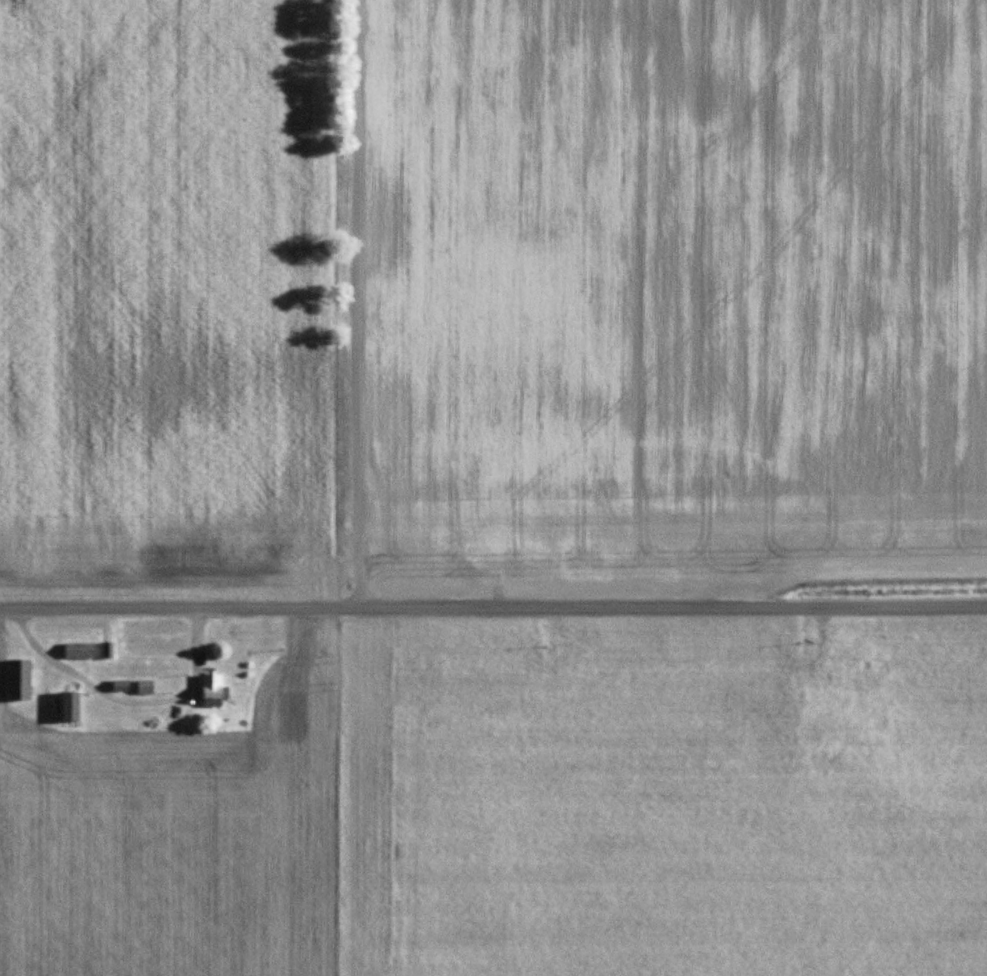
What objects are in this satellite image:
road: (349, 305)
road: (493, 609)
building: (79, 652)
building: (20, 681)
building: (145, 688)
building: (213, 691)
building: (71, 707)

